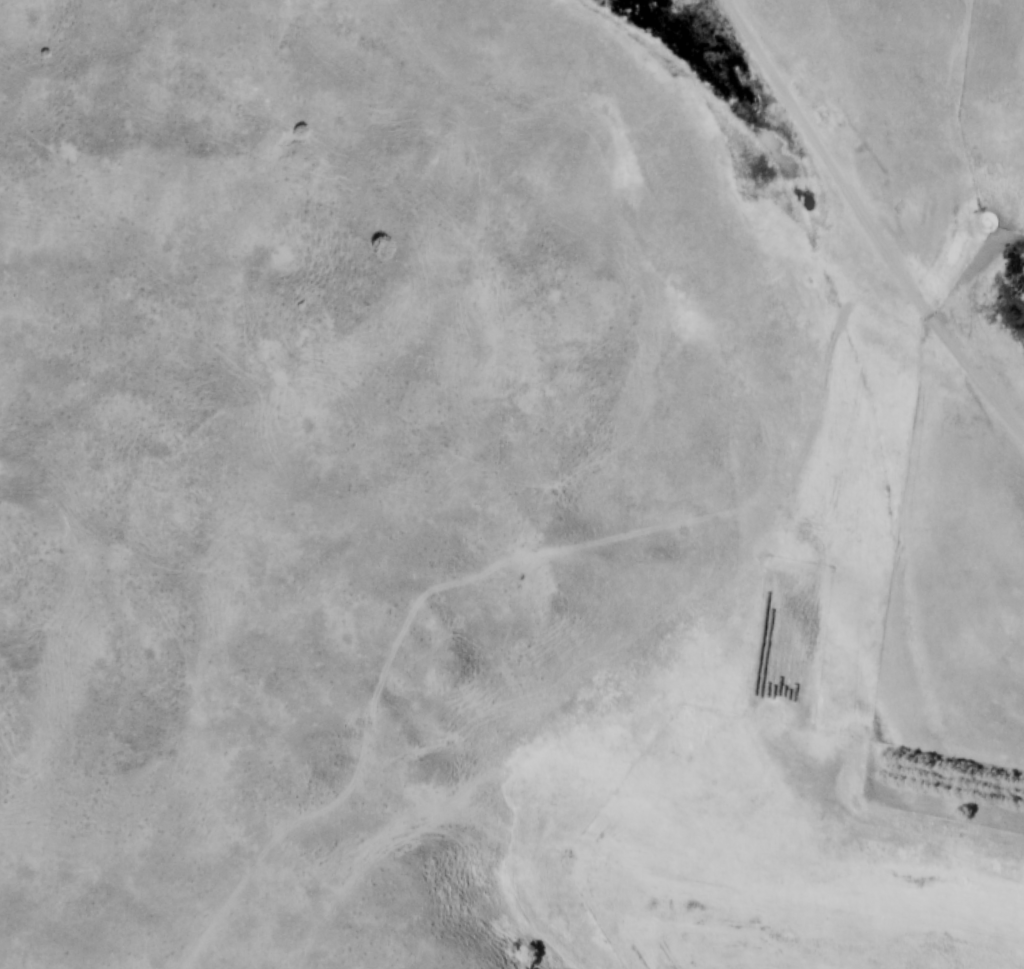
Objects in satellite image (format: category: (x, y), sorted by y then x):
road: (875, 230)

